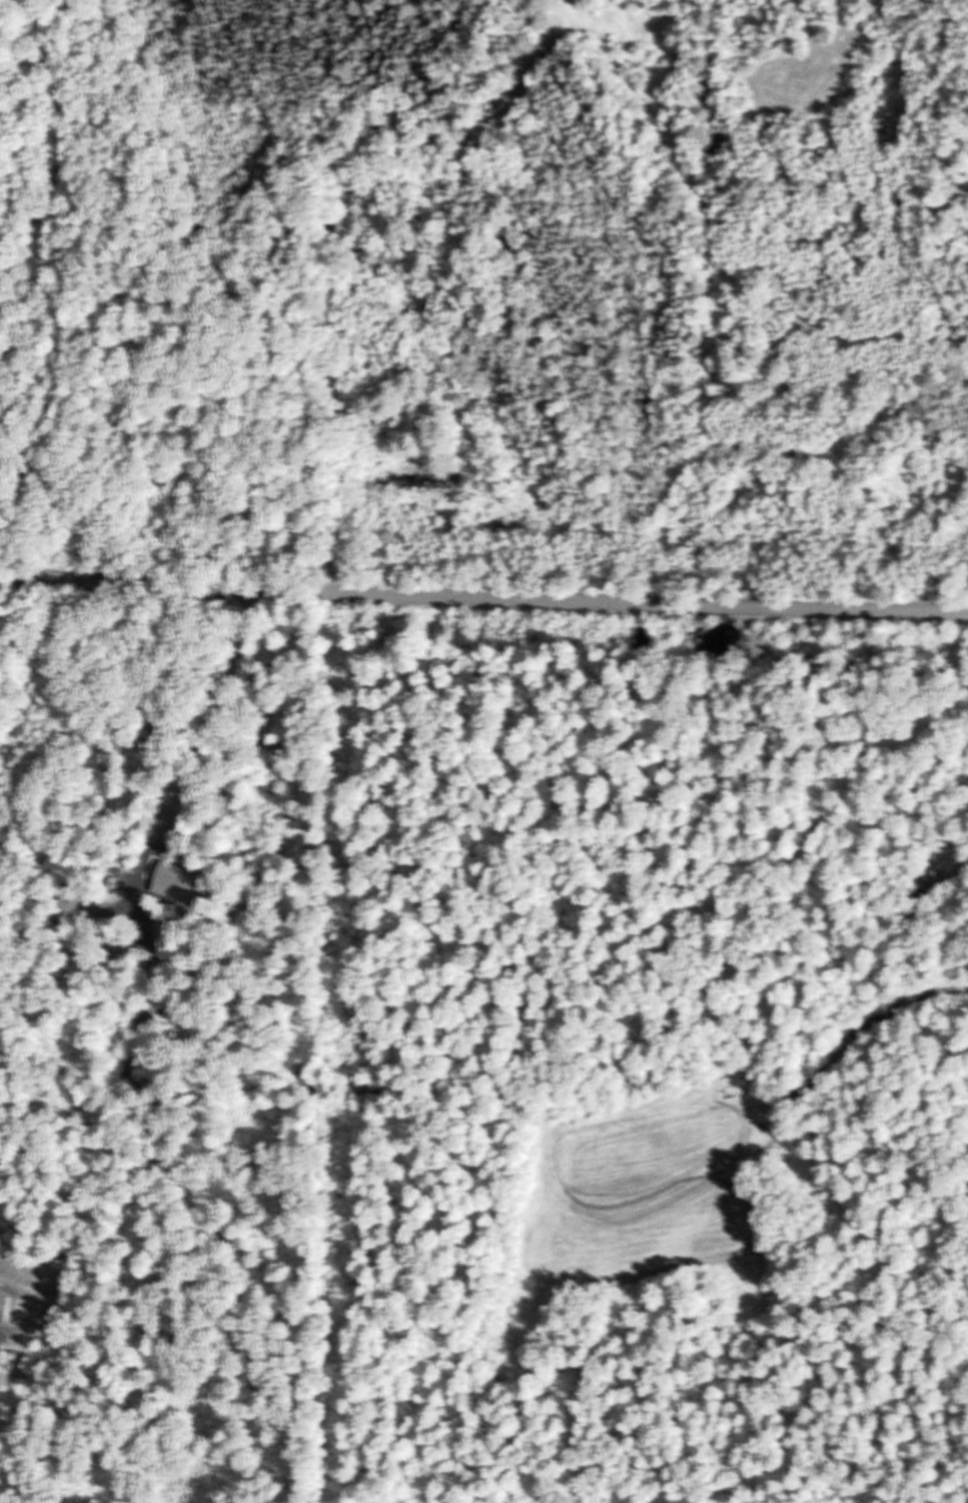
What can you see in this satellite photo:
road: (483, 599)

